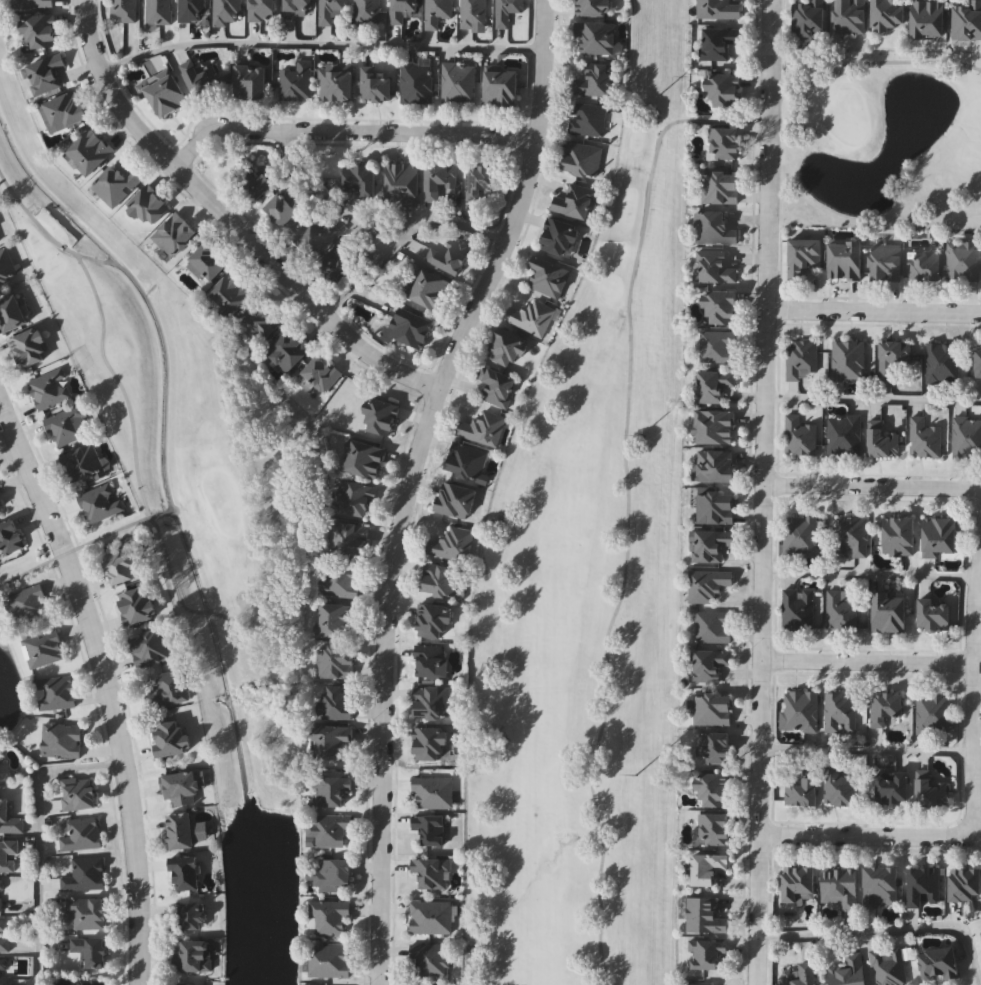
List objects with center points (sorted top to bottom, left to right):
building: (32, 3)
building: (593, 7)
building: (720, 8)
building: (299, 9)
building: (401, 9)
building: (123, 10)
building: (191, 10)
building: (262, 10)
building: (331, 10)
building: (158, 11)
building: (436, 11)
building: (505, 11)
building: (227, 12)
building: (366, 12)
building: (473, 13)
building: (889, 14)
building: (852, 16)
building: (809, 17)
building: (930, 18)
building: (967, 20)
building: (40, 30)
building: (595, 36)
building: (718, 42)
road: (321, 44)
building: (44, 73)
building: (203, 78)
building: (594, 79)
building: (251, 81)
building: (295, 81)
building: (415, 82)
building: (458, 82)
building: (335, 83)
building: (377, 86)
building: (501, 87)
building: (723, 89)
building: (166, 94)
building: (63, 111)
building: (586, 118)
road: (348, 132)
building: (723, 143)
building: (90, 151)
building: (581, 158)
building: (360, 178)
building: (438, 178)
building: (481, 179)
building: (403, 181)
building: (259, 183)
building: (116, 184)
building: (719, 187)
road: (328, 195)
building: (575, 201)
building: (149, 204)
building: (284, 209)
road: (229, 221)
road: (443, 221)
building: (715, 227)
building: (174, 233)
building: (314, 235)
building: (557, 236)
building: (449, 255)
building: (803, 255)
building: (844, 259)
building: (209, 260)
building: (336, 260)
building: (961, 260)
building: (885, 262)
building: (5, 264)
building: (715, 266)
building: (924, 266)
building: (548, 275)
road: (356, 284)
building: (430, 289)
building: (232, 292)
building: (721, 306)
road: (874, 308)
building: (12, 313)
building: (530, 316)
building: (261, 319)
building: (410, 326)
building: (506, 346)
building: (718, 346)
building: (29, 347)
building: (288, 348)
building: (799, 357)
building: (892, 357)
building: (978, 360)
building: (847, 361)
building: (941, 363)
building: (320, 373)
building: (713, 384)
building: (495, 385)
building: (49, 388)
road: (873, 399)
building: (380, 416)
building: (67, 424)
park: (173, 426)
building: (481, 427)
building: (714, 427)
building: (885, 433)
building: (843, 435)
building: (799, 436)
building: (923, 437)
building: (966, 437)
building: (364, 458)
building: (466, 462)
building: (82, 463)
building: (715, 465)
road: (410, 481)
road: (873, 488)
road: (764, 492)
building: (353, 497)
building: (454, 500)
building: (100, 501)
building: (715, 508)
building: (0, 513)
park: (642, 524)
building: (799, 535)
building: (898, 536)
building: (10, 537)
building: (347, 537)
building: (851, 537)
building: (939, 537)
building: (451, 544)
building: (710, 545)
building: (121, 567)
road: (869, 575)
building: (440, 579)
building: (338, 581)
building: (706, 585)
building: (26, 604)
building: (136, 605)
building: (797, 609)
building: (840, 612)
building: (889, 612)
building: (934, 615)
building: (338, 620)
building: (434, 620)
building: (713, 626)
building: (42, 647)
building: (150, 647)
building: (428, 660)
road: (867, 661)
building: (335, 662)
building: (709, 664)
road: (108, 687)
building: (167, 688)
park: (9, 690)
building: (54, 692)
road: (973, 693)
building: (338, 701)
building: (432, 702)
building: (885, 707)
building: (712, 708)
building: (799, 711)
building: (840, 712)
building: (933, 713)
building: (171, 737)
building: (61, 739)
building: (334, 742)
building: (431, 743)
building: (716, 748)
road: (866, 750)
building: (1, 759)
building: (182, 788)
building: (331, 789)
building: (839, 789)
building: (894, 789)
building: (714, 790)
building: (801, 791)
building: (432, 792)
building: (78, 793)
building: (931, 793)
building: (9, 818)
building: (430, 827)
building: (328, 829)
building: (714, 829)
building: (181, 830)
building: (82, 833)
road: (868, 836)
road: (37, 837)
building: (8, 855)
building: (708, 868)
building: (430, 871)
building: (186, 872)
building: (84, 873)
building: (333, 874)
building: (799, 884)
building: (965, 884)
building: (840, 886)
building: (879, 886)
building: (923, 886)
building: (1, 895)
building: (87, 911)
building: (702, 915)
building: (188, 916)
building: (328, 916)
building: (430, 916)
road: (887, 929)
building: (980, 933)
building: (3, 937)
building: (91, 950)
building: (707, 954)
building: (194, 956)
building: (328, 960)
building: (428, 960)
building: (938, 964)
building: (887, 965)
building: (4, 971)
building: (849, 971)
building: (802, 974)
building: (182, 984)
building: (700, 984)

